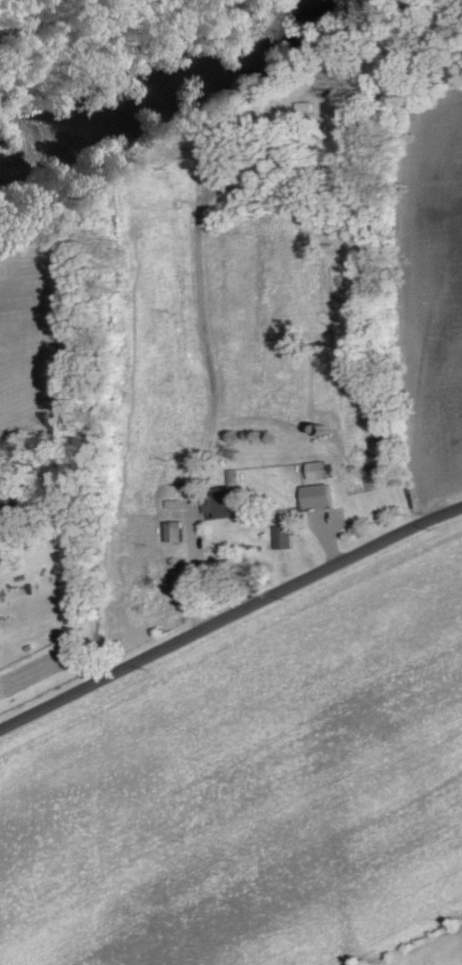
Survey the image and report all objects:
river: (175, 51)
road: (204, 340)
building: (315, 469)
building: (315, 495)
building: (223, 501)
building: (172, 531)
building: (282, 536)
road: (230, 616)

